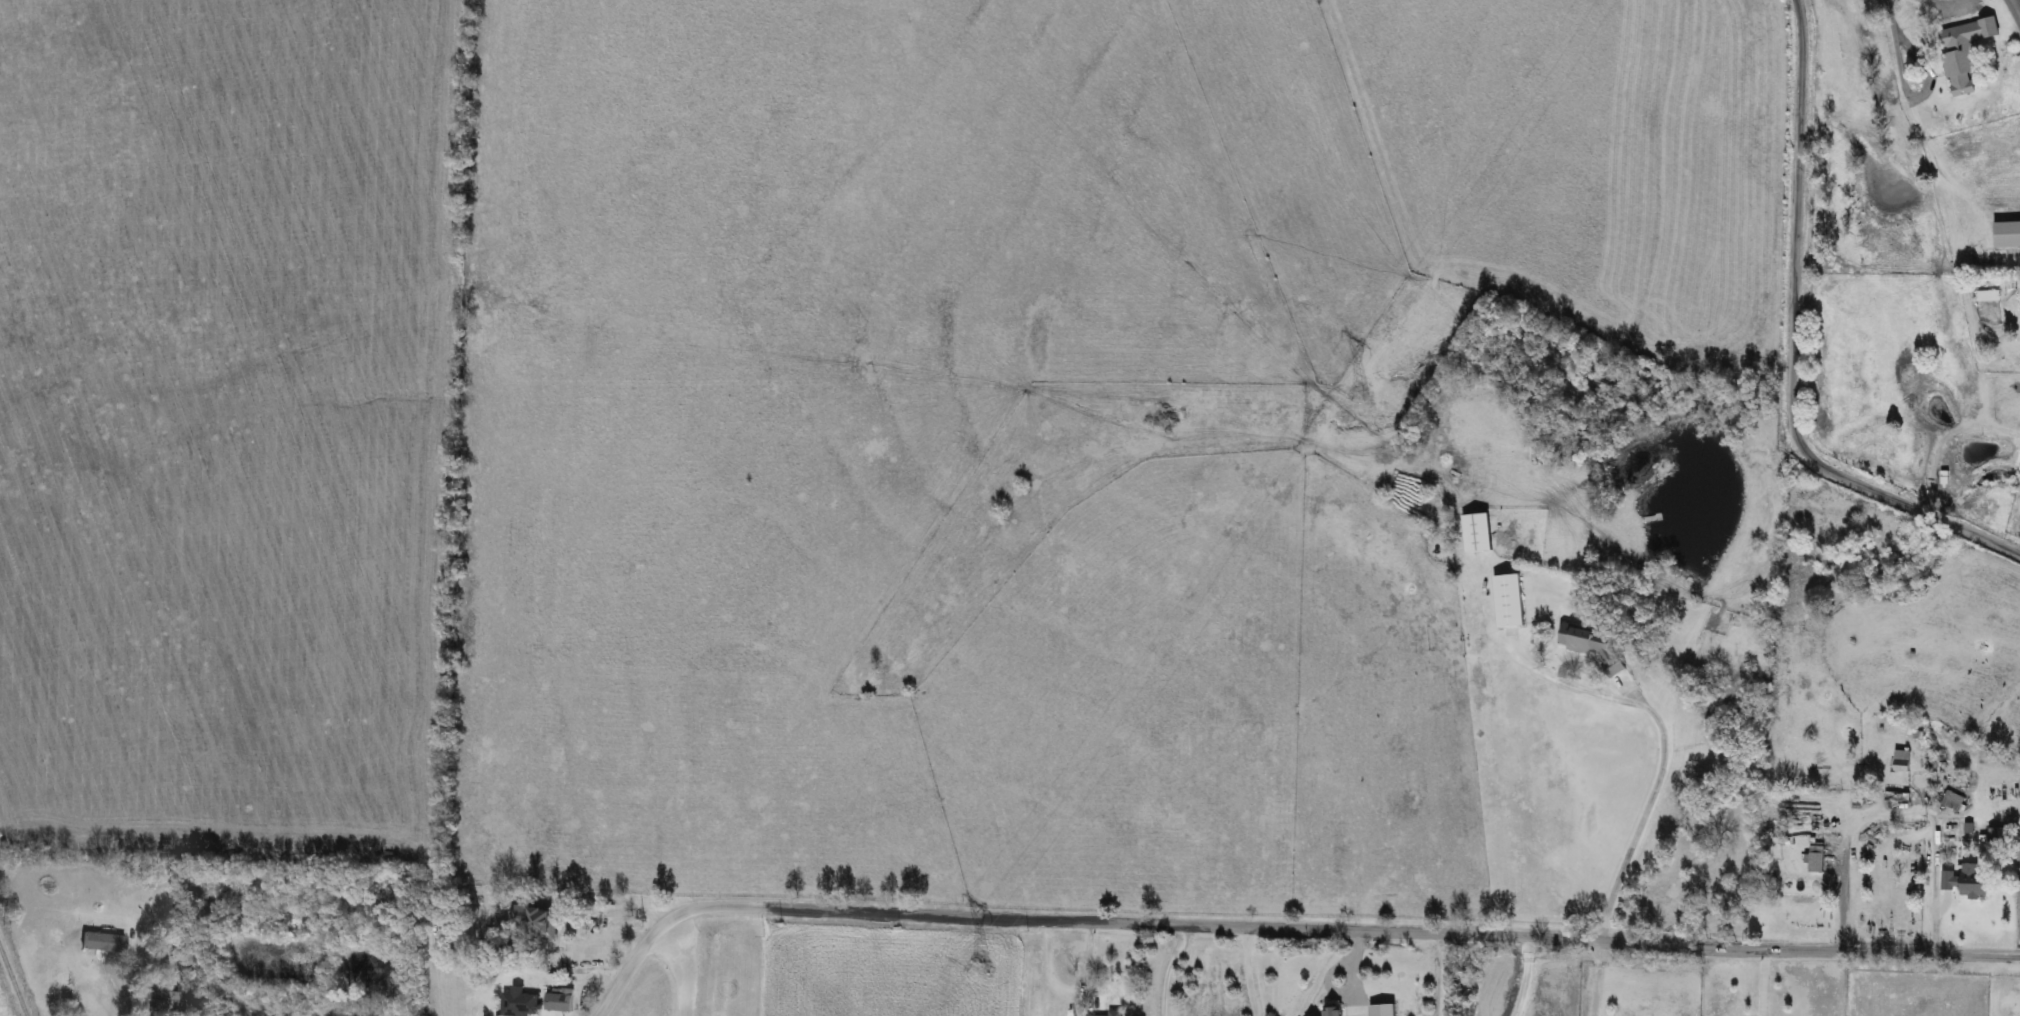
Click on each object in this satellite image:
road: (1946, 3)
building: (1964, 52)
building: (2007, 234)
road: (1792, 347)
power tower: (1358, 391)
road: (1943, 436)
building: (1476, 532)
building: (1509, 600)
building: (1592, 642)
building: (1902, 760)
road: (1646, 805)
road: (1896, 813)
building: (1816, 857)
building: (1967, 881)
building: (1806, 885)
building: (394, 897)
building: (537, 920)
road: (1337, 929)
building: (101, 941)
power tower: (981, 964)
road: (437, 967)
road: (1169, 967)
road: (626, 969)
road: (1443, 974)
road: (1524, 977)
road: (1594, 978)
railway: (12, 983)
road: (1067, 986)
road: (1345, 995)
building: (159, 998)
building: (558, 1002)
building: (519, 1003)
building: (1106, 1013)

